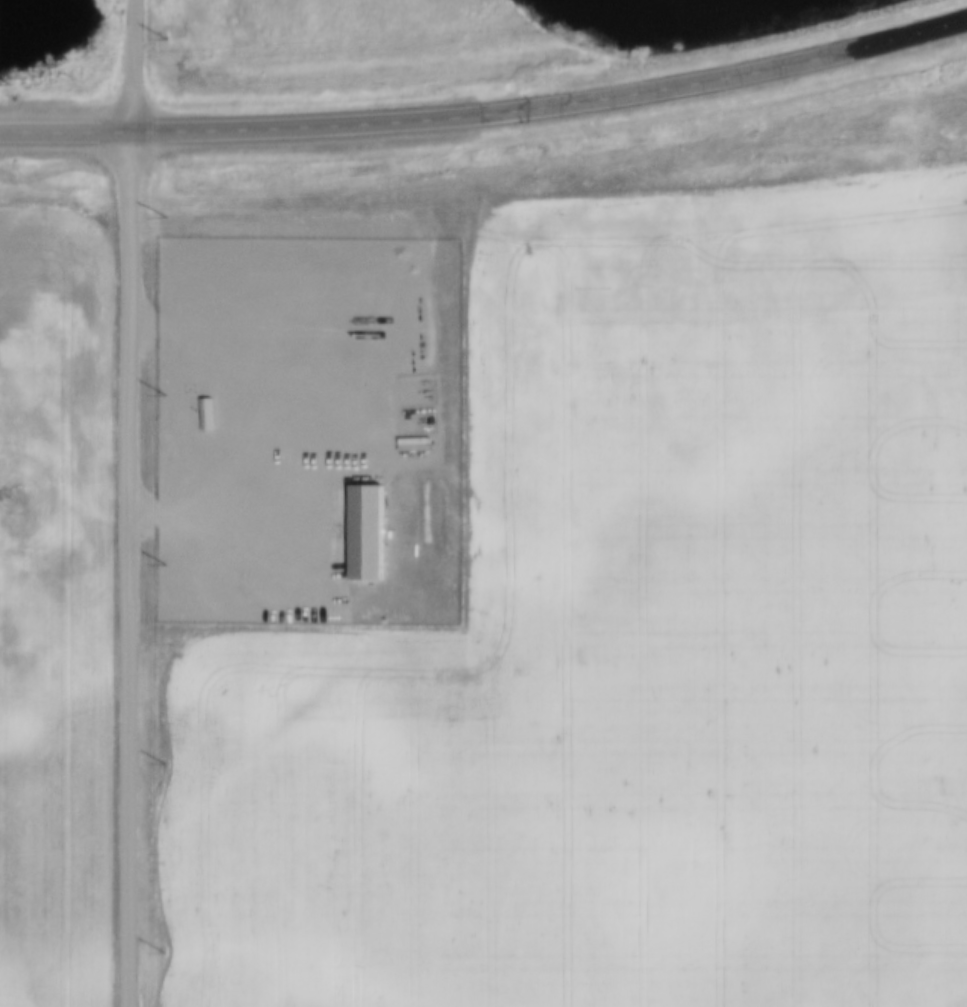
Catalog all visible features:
road: (487, 111)
road: (129, 503)
building: (369, 534)

